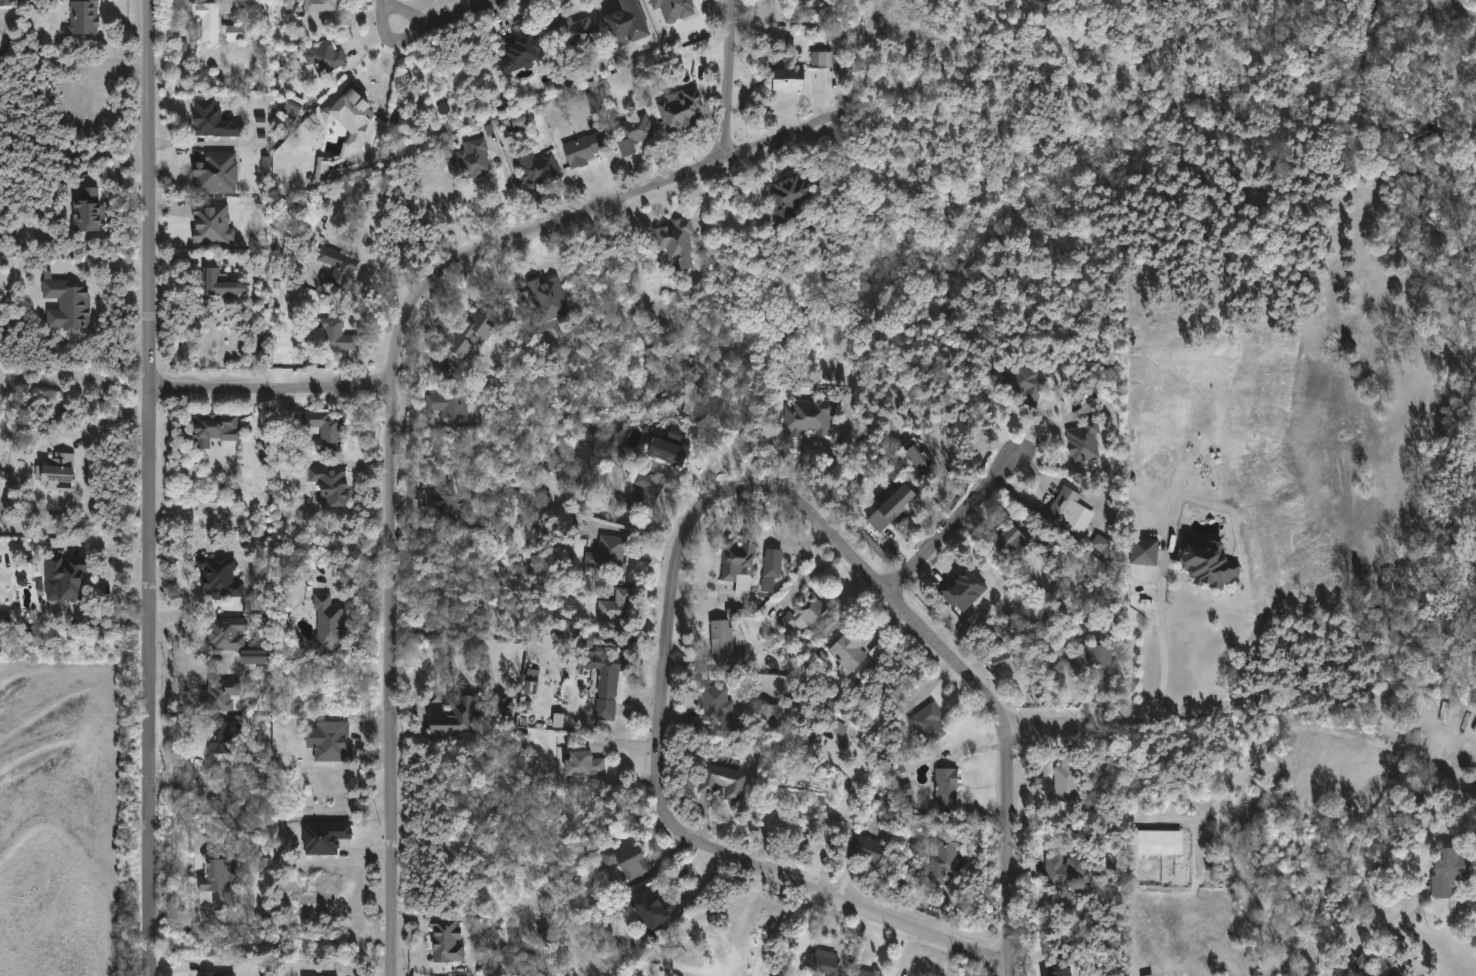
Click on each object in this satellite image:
building: (6, 2)
building: (322, 5)
building: (674, 9)
building: (87, 16)
building: (210, 20)
road: (431, 23)
building: (627, 23)
building: (569, 30)
building: (235, 32)
building: (520, 49)
building: (322, 59)
road: (387, 59)
building: (822, 59)
building: (787, 78)
building: (350, 105)
building: (295, 106)
building: (680, 110)
road: (729, 118)
building: (216, 119)
building: (520, 123)
building: (632, 132)
building: (581, 149)
building: (472, 158)
building: (534, 166)
building: (323, 167)
building: (220, 171)
building: (788, 196)
building: (315, 210)
building: (91, 211)
road: (575, 212)
building: (215, 224)
building: (674, 240)
building: (336, 266)
building: (222, 277)
building: (549, 301)
building: (67, 304)
building: (464, 334)
building: (340, 335)
building: (1023, 383)
road: (273, 386)
building: (447, 404)
building: (808, 417)
road: (108, 422)
building: (218, 429)
building: (327, 430)
building: (1083, 441)
building: (664, 452)
building: (920, 460)
building: (62, 472)
building: (335, 486)
building: (644, 487)
road: (150, 488)
building: (892, 507)
building: (441, 508)
building: (1070, 511)
road: (955, 522)
building: (1008, 540)
road: (81, 541)
building: (1101, 543)
building: (1142, 551)
building: (607, 554)
building: (736, 560)
building: (1207, 563)
building: (771, 567)
road: (810, 573)
building: (72, 577)
building: (223, 577)
building: (962, 591)
road: (114, 592)
building: (614, 608)
building: (810, 617)
building: (335, 624)
building: (228, 634)
building: (586, 640)
building: (722, 643)
building: (850, 652)
building: (256, 656)
building: (1089, 657)
road: (968, 674)
road: (1165, 675)
road: (389, 680)
building: (604, 683)
building: (225, 694)
building: (710, 702)
building: (771, 712)
building: (468, 714)
building: (926, 724)
road: (1047, 725)
road: (1316, 729)
building: (228, 736)
building: (330, 741)
building: (580, 762)
building: (1066, 777)
building: (721, 781)
building: (945, 789)
road: (672, 828)
building: (325, 838)
building: (1153, 841)
building: (869, 849)
building: (943, 857)
building: (619, 858)
building: (1451, 871)
building: (1067, 872)
road: (1374, 872)
building: (220, 874)
building: (648, 910)
road: (778, 929)
building: (444, 939)
building: (822, 963)
building: (1358, 963)
building: (1061, 971)
building: (209, 973)
building: (867, 973)

